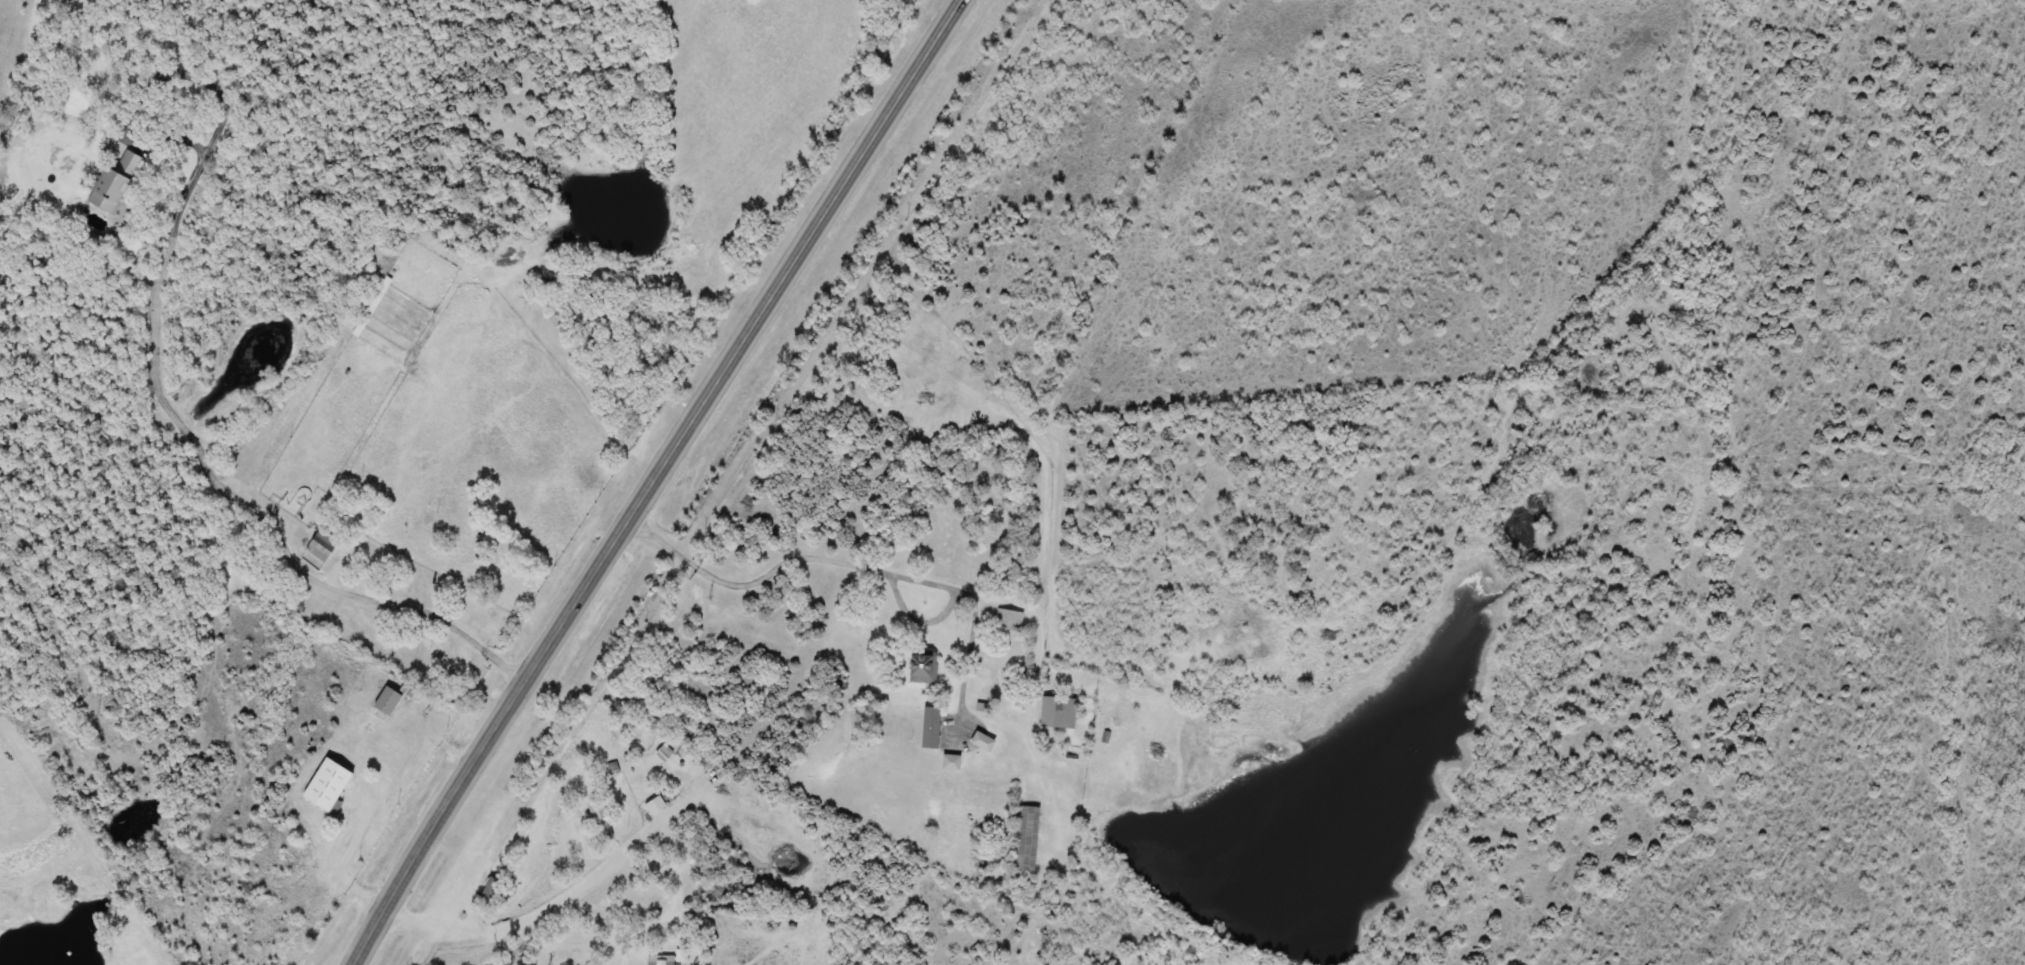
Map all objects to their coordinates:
building: (111, 184)
road: (206, 466)
road: (650, 478)
railway: (718, 482)
road: (920, 576)
building: (1006, 621)
building: (918, 667)
building: (384, 701)
building: (1055, 713)
power tower: (87, 717)
building: (928, 728)
building: (979, 742)
building: (947, 763)
road: (1073, 777)
building: (324, 786)
building: (596, 825)
building: (1022, 843)
road: (678, 879)
road: (550, 901)
building: (664, 959)

